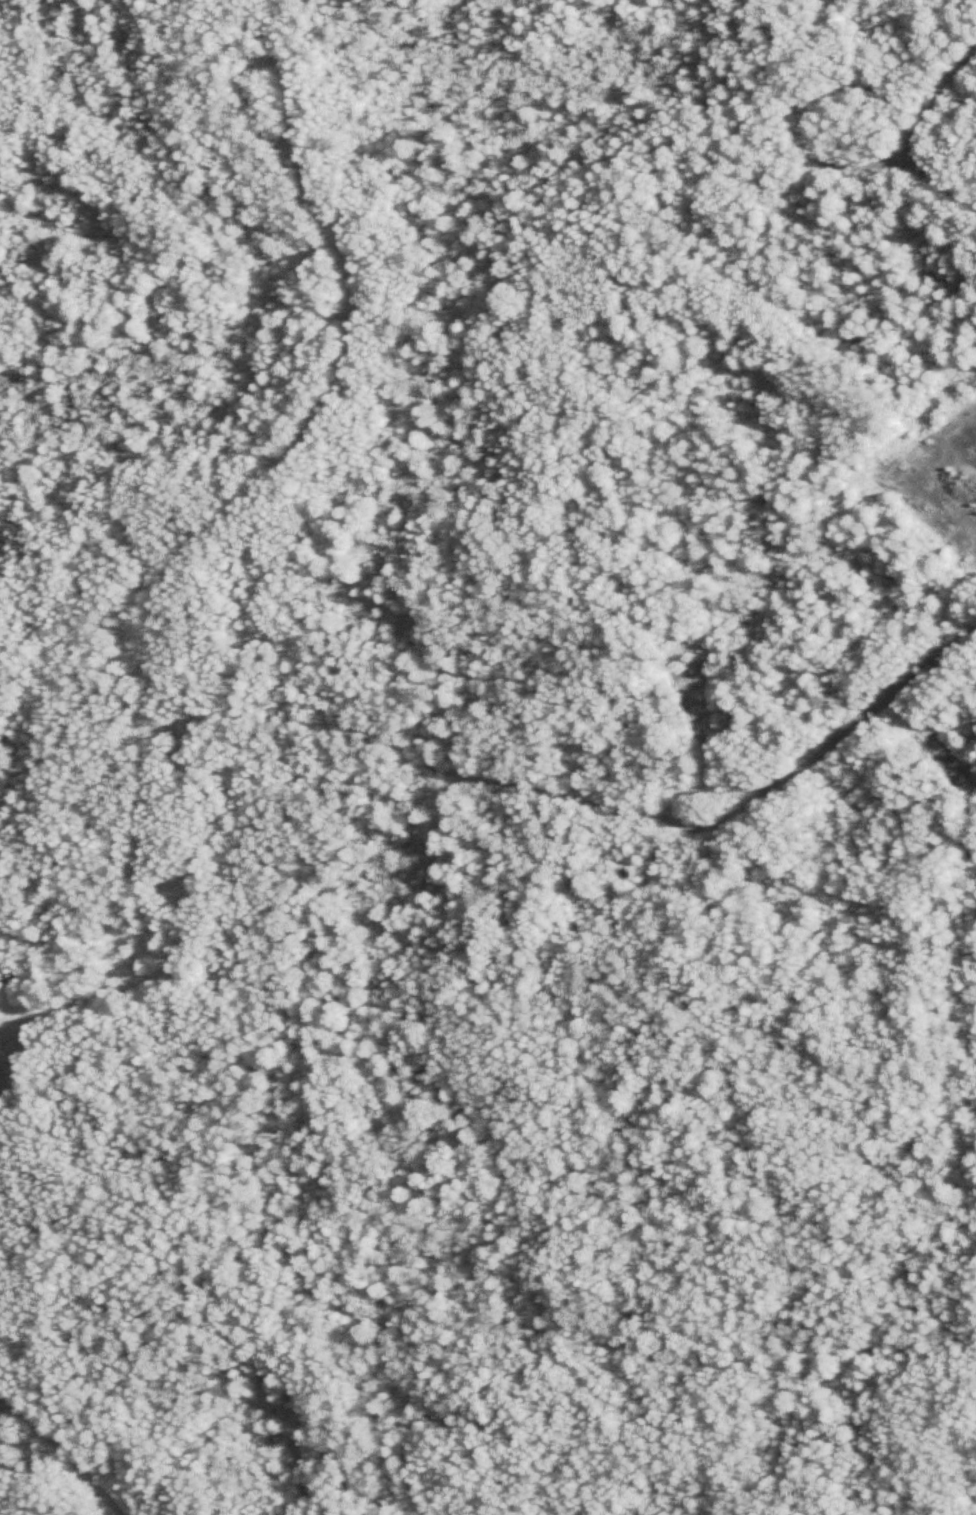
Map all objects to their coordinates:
road: (67, 1450)

